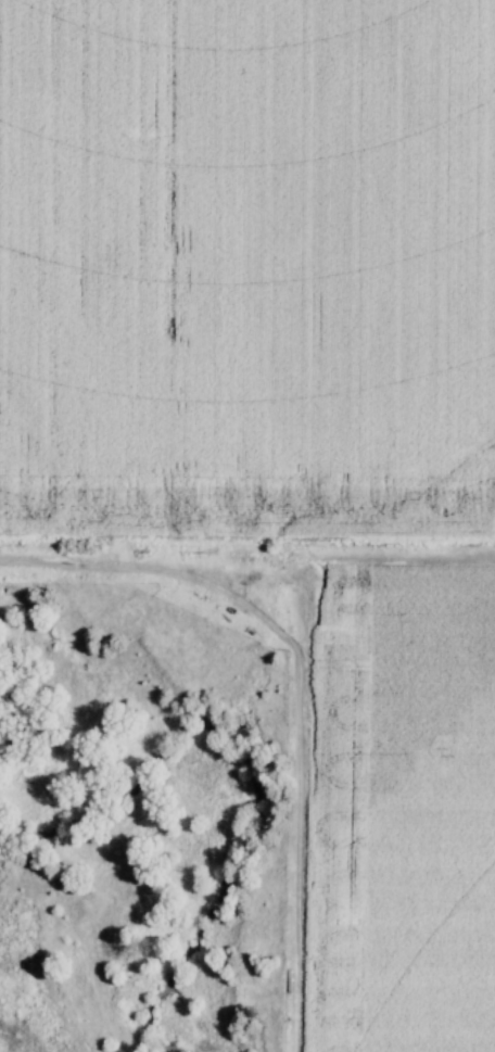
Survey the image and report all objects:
river: (246, 773)

